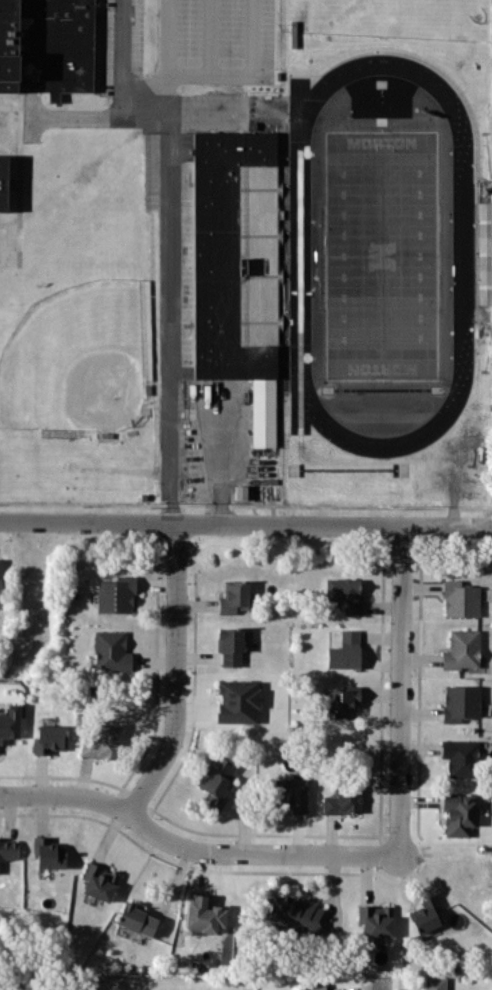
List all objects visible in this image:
building: (46, 46)
road: (75, 117)
building: (3, 182)
road: (170, 236)
park: (382, 254)
track: (463, 255)
building: (236, 266)
road: (223, 455)
road: (246, 523)
building: (0, 582)
building: (344, 593)
building: (116, 595)
building: (234, 596)
building: (460, 599)
building: (229, 645)
building: (461, 649)
building: (111, 650)
building: (345, 650)
road: (177, 673)
road: (401, 689)
building: (238, 701)
building: (342, 701)
building: (460, 702)
building: (9, 723)
building: (49, 738)
building: (102, 742)
building: (459, 756)
building: (215, 781)
building: (289, 793)
building: (342, 800)
building: (459, 813)
building: (8, 848)
road: (193, 848)
building: (48, 852)
building: (99, 881)
building: (203, 914)
building: (291, 914)
building: (425, 914)
building: (135, 918)
building: (375, 919)
road: (382, 983)
building: (434, 983)

